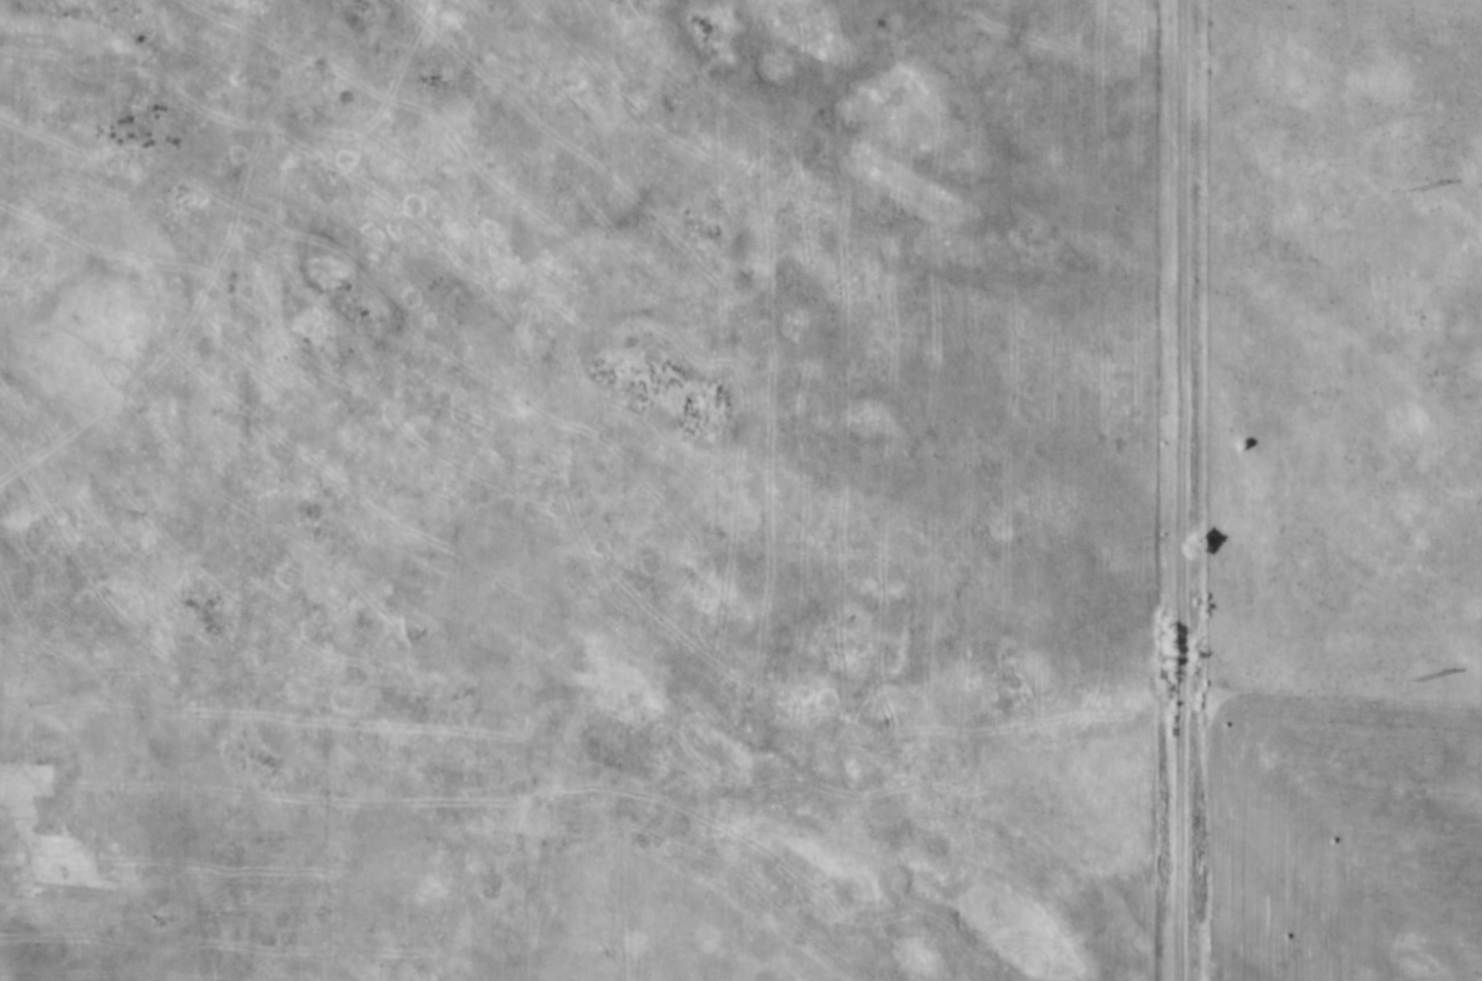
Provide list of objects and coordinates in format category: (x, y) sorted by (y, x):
power tower: (1414, 189)
road: (1180, 490)
power tower: (1416, 683)

